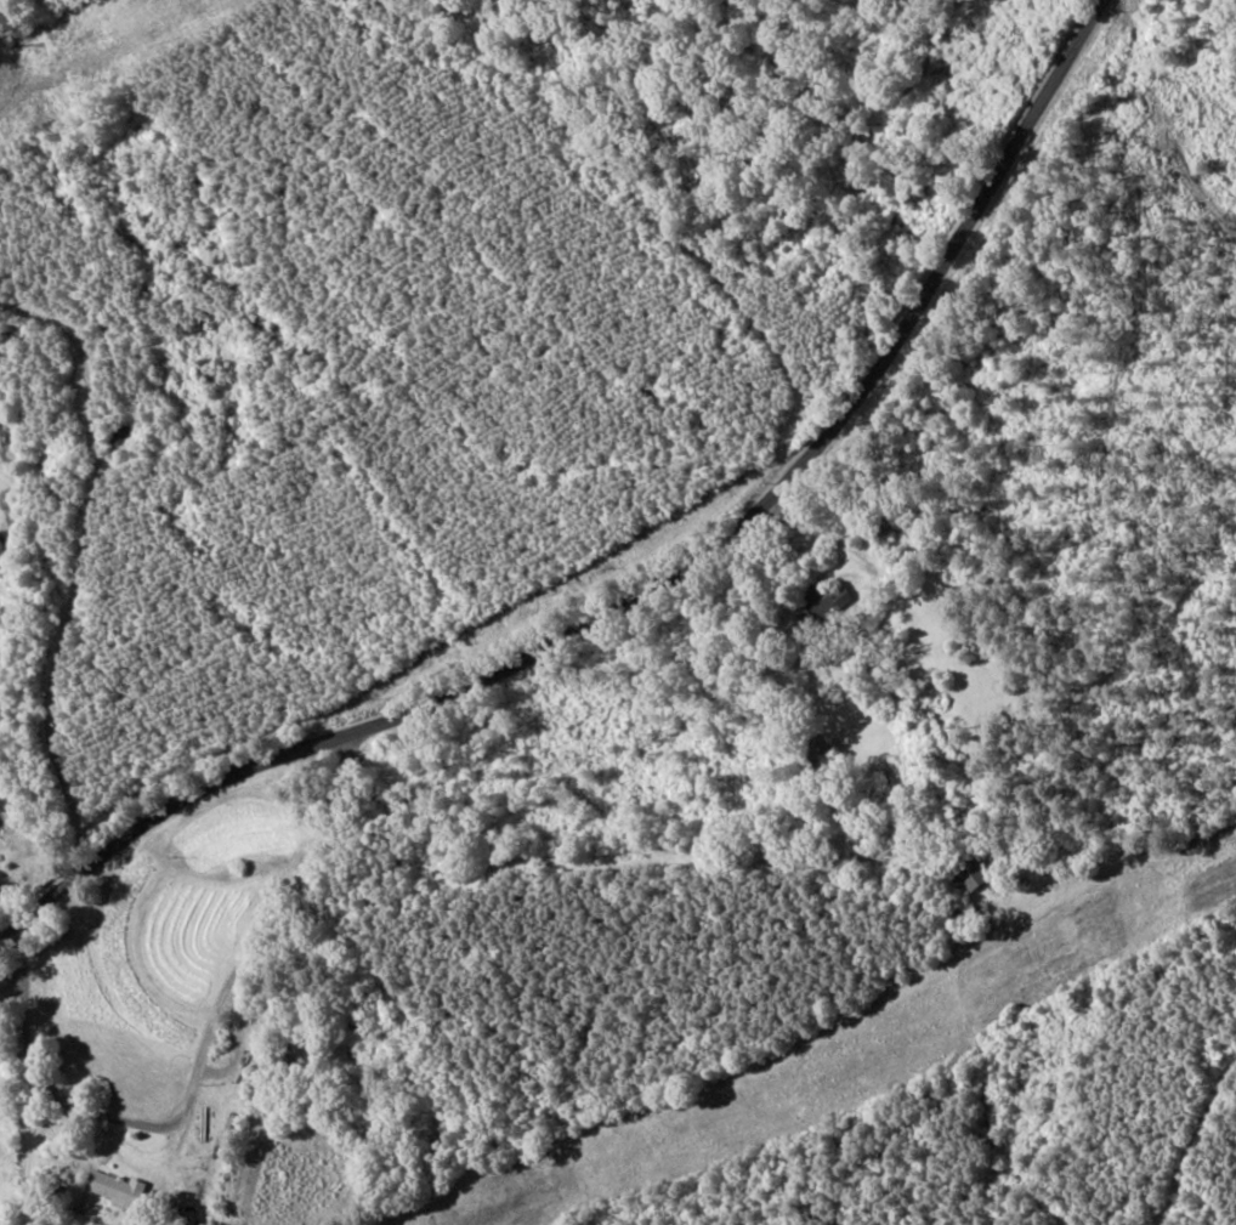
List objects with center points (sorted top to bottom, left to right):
building: (817, 607)
road: (687, 648)
road: (36, 711)
building: (970, 874)
road: (675, 957)
road: (250, 1025)
building: (114, 1187)

